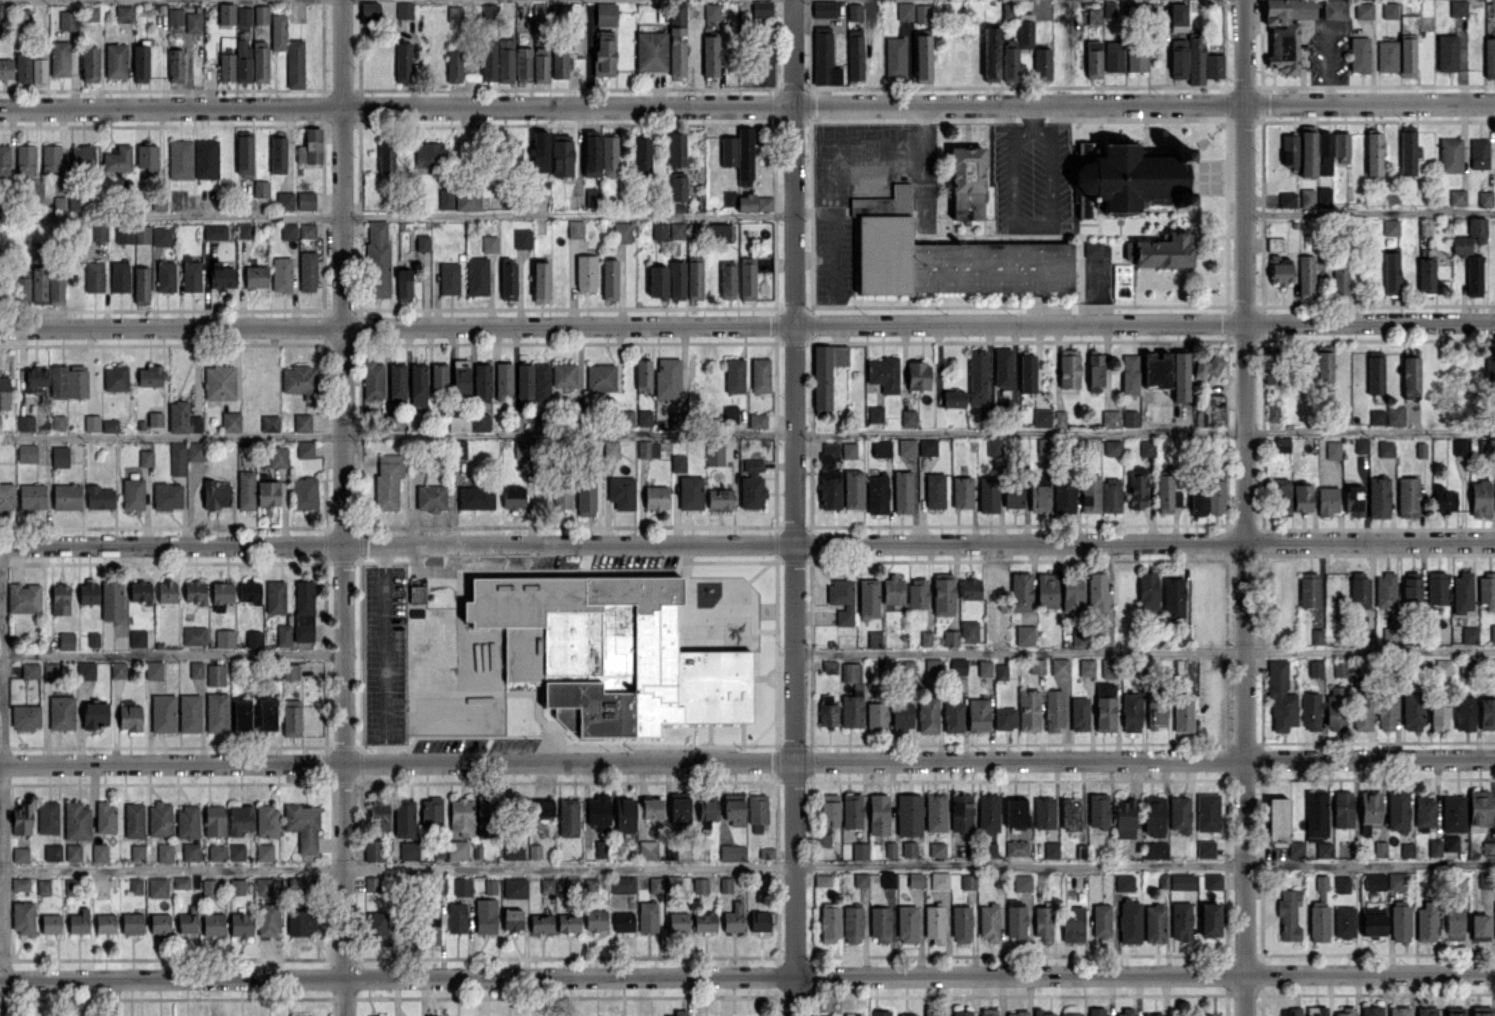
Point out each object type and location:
building: (1489, 57)
road: (747, 106)
road: (1029, 119)
building: (1479, 153)
building: (1127, 169)
building: (1485, 198)
road: (1369, 211)
road: (396, 215)
building: (1477, 228)
road: (1032, 229)
building: (1461, 245)
building: (1474, 275)
road: (747, 324)
building: (1490, 365)
road: (747, 434)
building: (1459, 446)
building: (1480, 498)
road: (343, 507)
road: (793, 507)
road: (1245, 508)
road: (747, 543)
building: (1486, 590)
building: (1462, 592)
road: (0, 617)
building: (1492, 632)
building: (1469, 634)
building: (590, 646)
road: (1144, 652)
road: (173, 654)
road: (383, 654)
building: (1468, 667)
building: (1490, 667)
building: (1463, 713)
building: (1487, 713)
road: (747, 761)
road: (1, 780)
building: (1479, 807)
building: (1453, 813)
building: (1450, 842)
building: (1488, 849)
road: (748, 864)
building: (1485, 879)
building: (1494, 911)
building: (1453, 924)
building: (1479, 926)
road: (747, 976)
building: (1454, 1011)
building: (1481, 1011)

